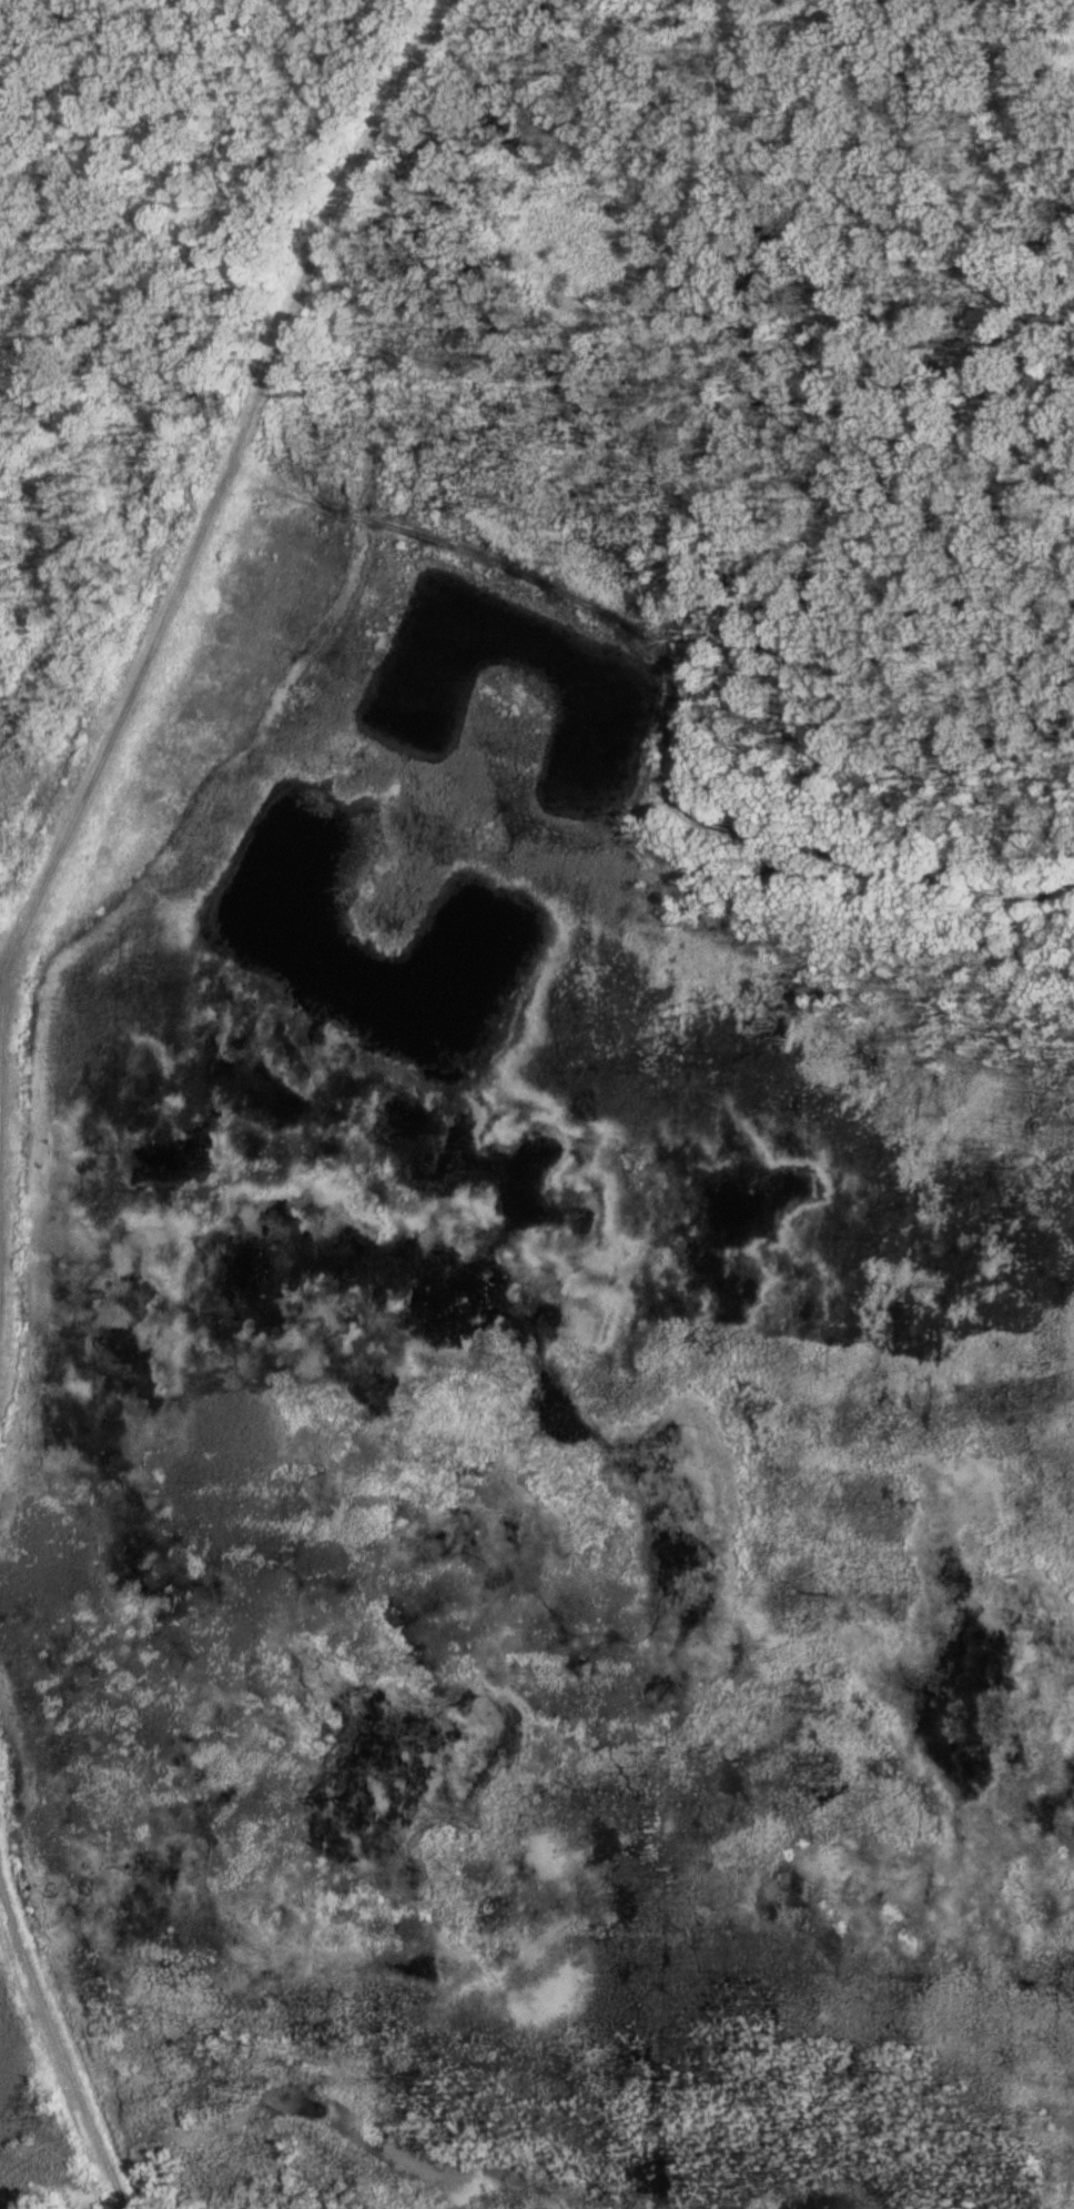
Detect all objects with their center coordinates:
road: (139, 676)
road: (62, 2067)

